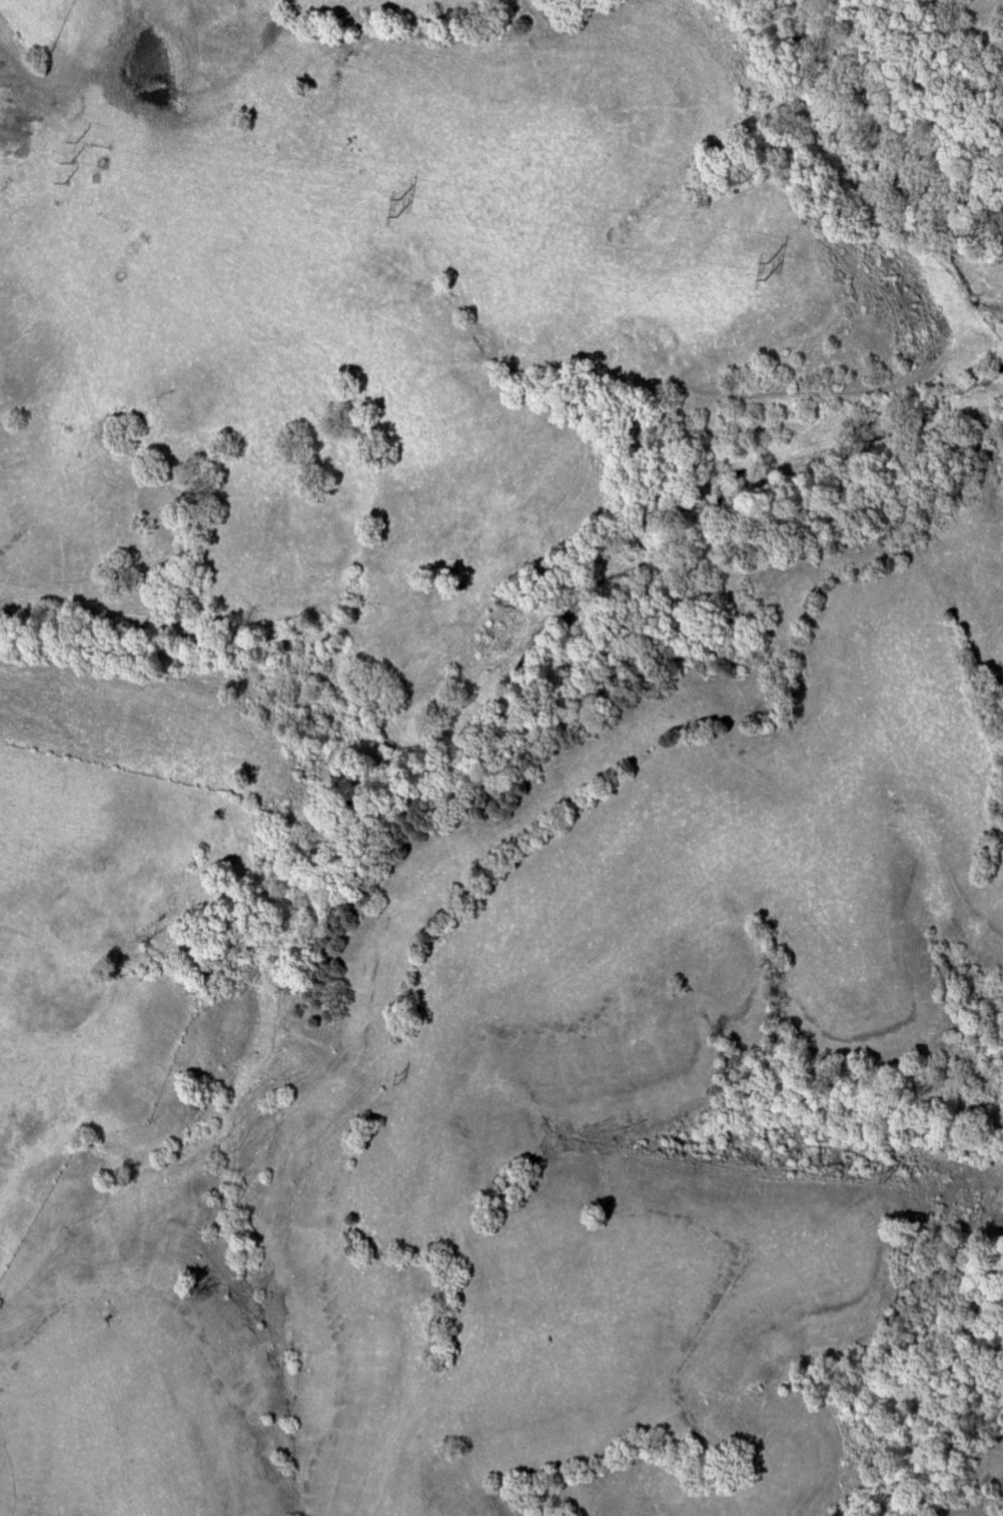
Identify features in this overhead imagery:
power tower: (71, 156)
power tower: (396, 204)
power tower: (764, 268)
power tower: (399, 1078)
power tower: (882, 1171)

